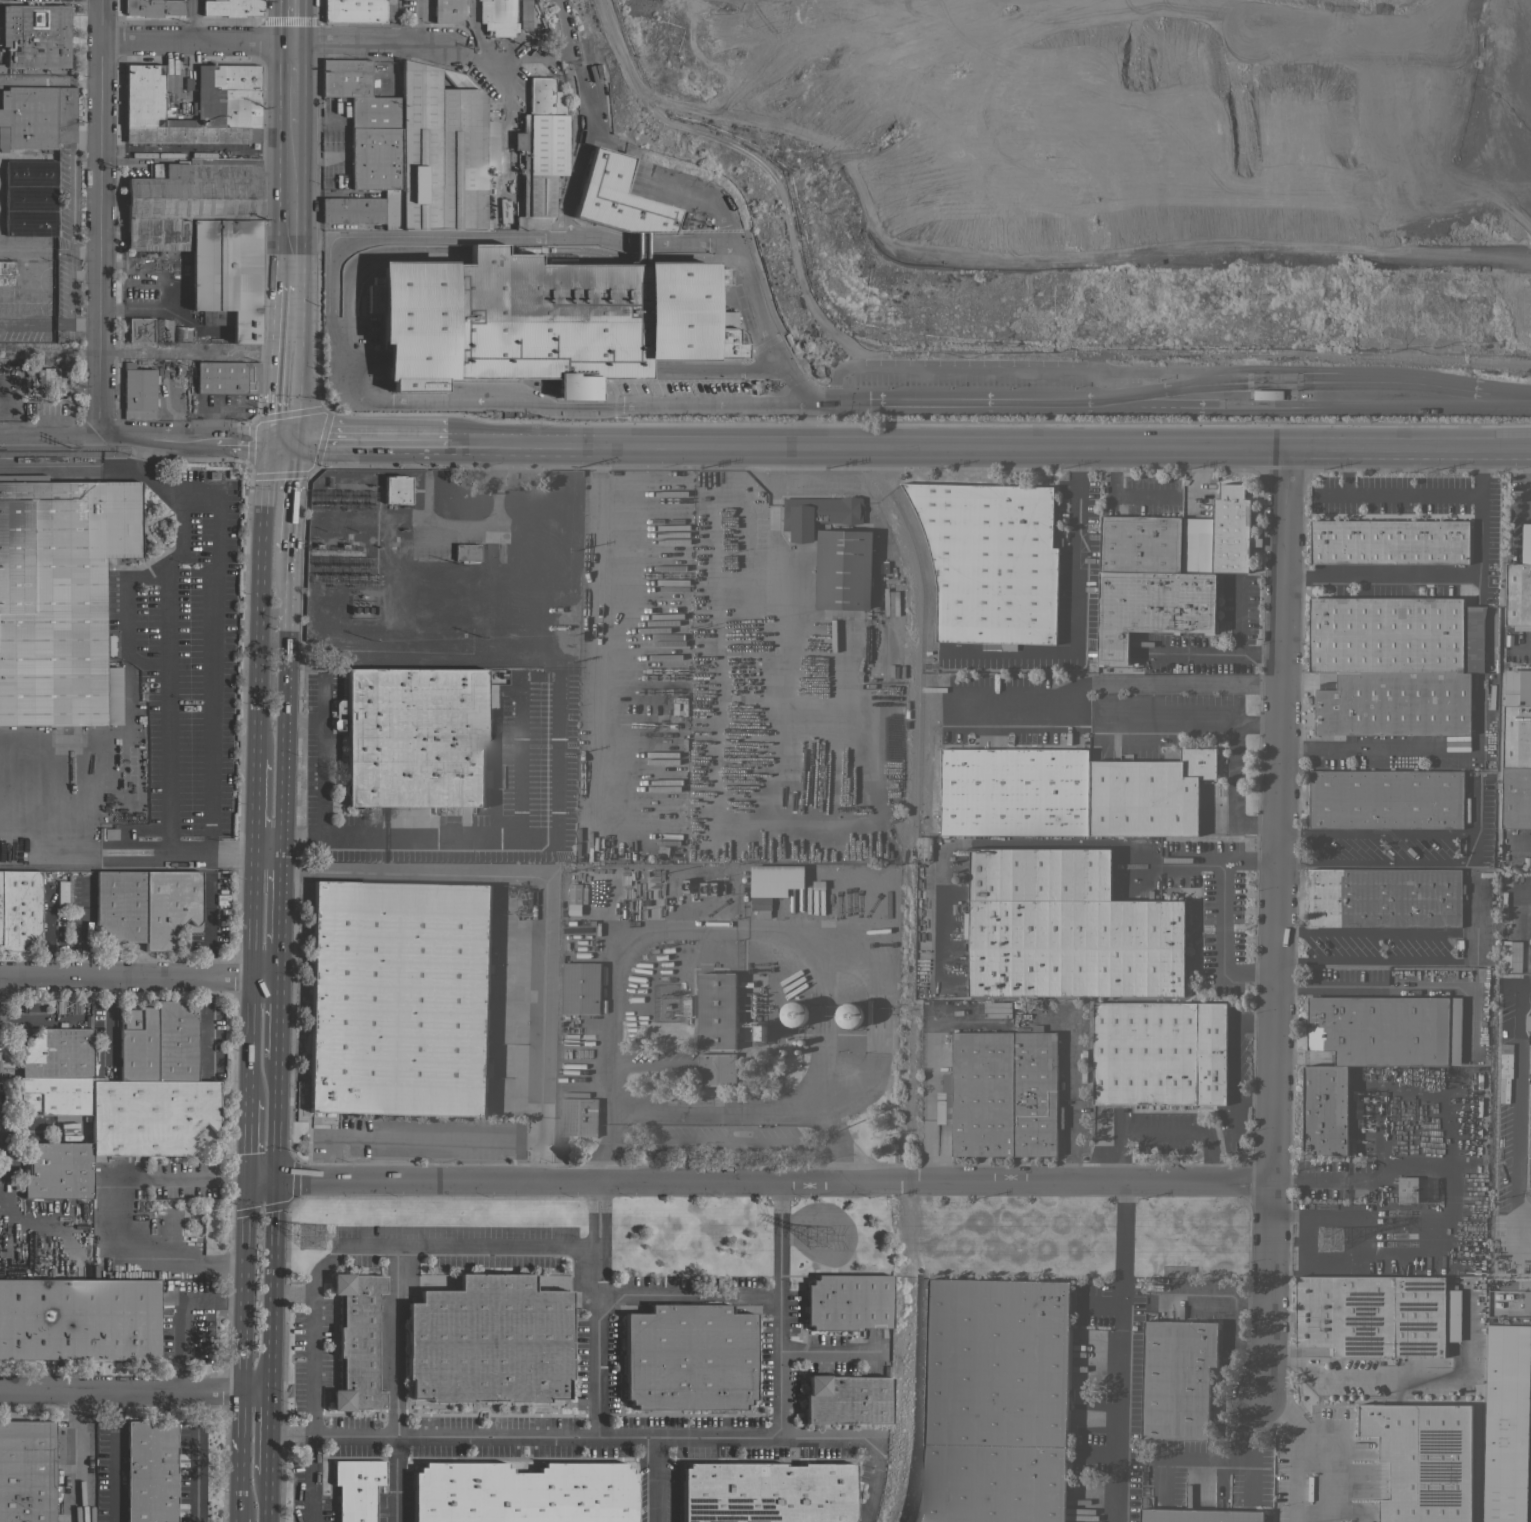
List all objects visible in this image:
building: (153, 7)
building: (231, 8)
building: (447, 10)
building: (353, 11)
building: (524, 15)
building: (497, 17)
road: (192, 20)
road: (293, 21)
road: (418, 22)
road: (476, 31)
building: (35, 35)
road: (564, 40)
road: (275, 42)
road: (480, 44)
road: (508, 59)
road: (31, 79)
road: (82, 80)
building: (226, 81)
road: (292, 84)
building: (358, 93)
building: (148, 99)
building: (227, 112)
road: (504, 114)
building: (36, 117)
building: (190, 135)
building: (490, 142)
building: (440, 150)
building: (540, 152)
building: (375, 159)
quarry: (1110, 166)
building: (616, 197)
building: (29, 198)
building: (188, 199)
road: (291, 205)
road: (100, 218)
road: (69, 220)
road: (566, 234)
road: (84, 252)
building: (6, 271)
building: (225, 273)
building: (541, 320)
building: (724, 320)
road: (26, 323)
road: (76, 324)
building: (139, 330)
building: (162, 330)
building: (181, 332)
road: (763, 337)
road: (287, 364)
road: (1018, 367)
road: (1278, 370)
building: (227, 377)
building: (53, 379)
building: (138, 391)
building: (1267, 394)
road: (395, 398)
road: (928, 406)
road: (1279, 409)
road: (48, 437)
road: (190, 440)
traffic signals: (285, 443)
road: (366, 443)
road: (867, 447)
road: (1326, 448)
road: (1446, 449)
building: (396, 489)
road: (1120, 496)
road: (1400, 496)
road: (294, 498)
building: (817, 514)
building: (1221, 536)
building: (1389, 541)
building: (1526, 543)
building: (1139, 544)
building: (466, 552)
building: (991, 561)
power substation: (444, 567)
building: (843, 569)
road: (1447, 575)
building: (1518, 596)
building: (59, 598)
road: (257, 598)
road: (1073, 607)
building: (1151, 607)
road: (124, 632)
building: (1394, 634)
road: (213, 643)
building: (109, 645)
road: (1234, 646)
building: (1092, 652)
road: (1104, 683)
building: (1392, 703)
road: (286, 705)
road: (1257, 724)
building: (1515, 724)
road: (1232, 732)
building: (414, 737)
road: (1377, 748)
road: (321, 759)
building: (1014, 791)
building: (1148, 794)
building: (1516, 797)
road: (557, 799)
building: (1385, 799)
road: (71, 801)
road: (252, 809)
road: (35, 827)
building: (110, 834)
road: (1472, 848)
road: (160, 857)
road: (266, 857)
road: (1251, 861)
road: (543, 876)
building: (773, 882)
building: (577, 893)
building: (1384, 896)
road: (279, 898)
road: (1222, 901)
building: (120, 904)
building: (169, 906)
building: (19, 908)
road: (1278, 923)
building: (933, 925)
building: (1064, 928)
road: (206, 929)
road: (717, 931)
building: (1509, 958)
road: (277, 960)
road: (248, 978)
road: (137, 979)
building: (581, 988)
building: (399, 998)
building: (686, 1005)
building: (717, 1011)
building: (794, 1013)
building: (849, 1015)
road: (999, 1016)
road: (275, 1020)
road: (36, 1021)
road: (112, 1022)
road: (205, 1023)
building: (1527, 1024)
building: (1386, 1029)
building: (761, 1032)
building: (175, 1043)
building: (138, 1045)
building: (1159, 1053)
building: (57, 1054)
road: (1235, 1060)
building: (717, 1069)
building: (1001, 1094)
building: (55, 1096)
building: (1325, 1109)
road: (716, 1110)
building: (150, 1116)
building: (578, 1116)
road: (272, 1119)
road: (1514, 1120)
road: (1164, 1133)
road: (246, 1138)
road: (433, 1138)
building: (58, 1170)
road: (1339, 1175)
traffic signals: (246, 1177)
road: (258, 1177)
traffic signals: (271, 1178)
road: (772, 1180)
building: (1407, 1189)
building: (1475, 1193)
building: (1447, 1196)
road: (245, 1204)
road: (270, 1206)
road: (1522, 1215)
road: (114, 1216)
power tower: (825, 1237)
power tower: (1331, 1238)
power tower: (315, 1241)
road: (403, 1246)
road: (688, 1294)
building: (1506, 1299)
building: (847, 1302)
road: (311, 1306)
road: (598, 1306)
road: (241, 1309)
road: (266, 1310)
building: (1377, 1315)
road: (179, 1316)
building: (79, 1319)
building: (488, 1341)
building: (357, 1342)
road: (829, 1351)
road: (1116, 1352)
building: (688, 1357)
building: (1176, 1378)
road: (1357, 1382)
road: (251, 1387)
road: (120, 1388)
building: (846, 1399)
building: (995, 1401)
building: (1506, 1423)
road: (263, 1431)
road: (648, 1433)
road: (870, 1436)
road: (238, 1450)
road: (1294, 1452)
road: (114, 1455)
building: (1422, 1459)
building: (26, 1471)
building: (150, 1471)
road: (192, 1473)
road: (1325, 1474)
road: (307, 1476)
road: (394, 1477)
road: (658, 1478)
building: (356, 1488)
building: (766, 1492)
building: (522, 1493)
road: (263, 1499)
building: (1198, 1515)
road: (235, 1518)

